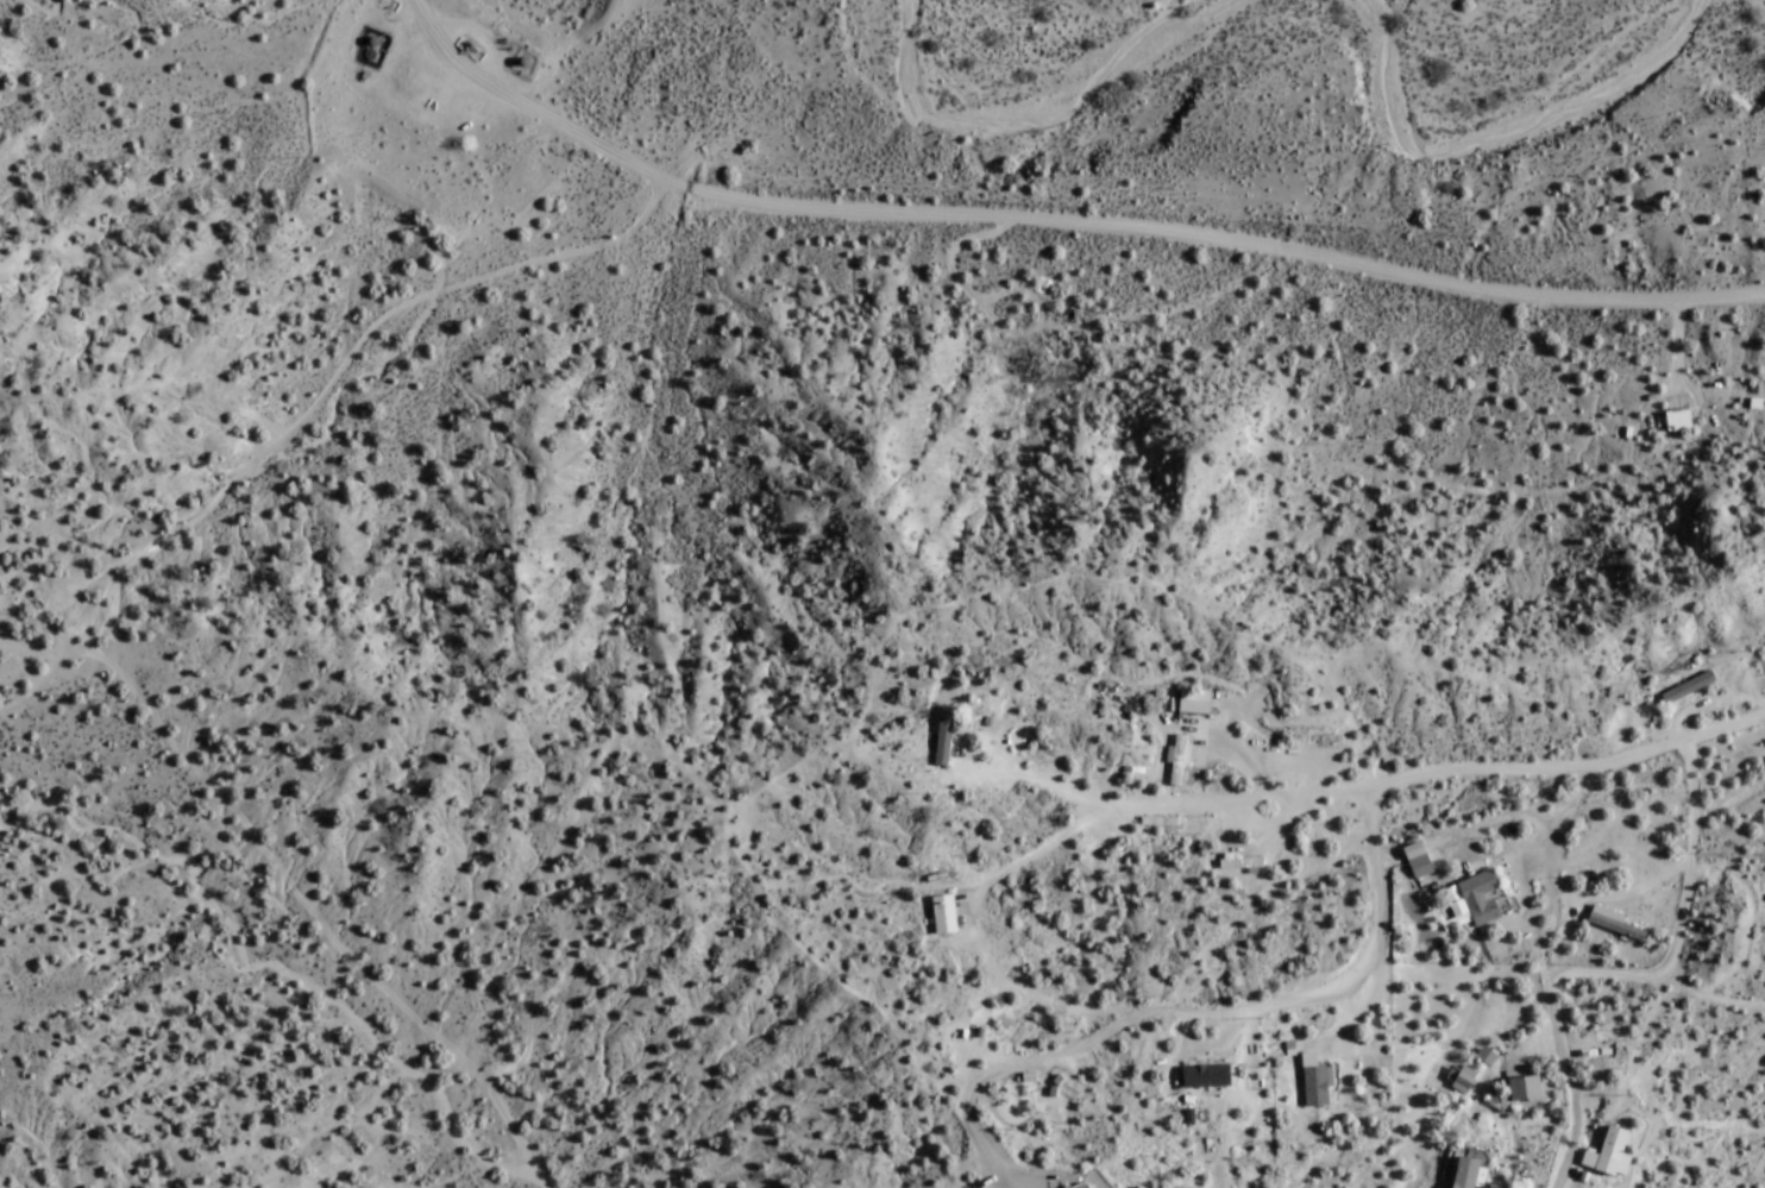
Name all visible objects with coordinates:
river: (1084, 71)
river: (1547, 80)
road: (1055, 219)
building: (1019, 365)
road: (313, 401)
building: (1678, 419)
road: (84, 640)
building: (1688, 686)
road: (144, 700)
building: (1193, 702)
building: (943, 736)
building: (1179, 759)
road: (1431, 774)
building: (1243, 863)
building: (1420, 866)
building: (1480, 895)
building: (943, 914)
building: (1613, 922)
building: (1205, 1076)
building: (1461, 1076)
building: (1525, 1087)
building: (1315, 1088)
building: (1606, 1151)
building: (1465, 1173)
building: (1080, 1184)

